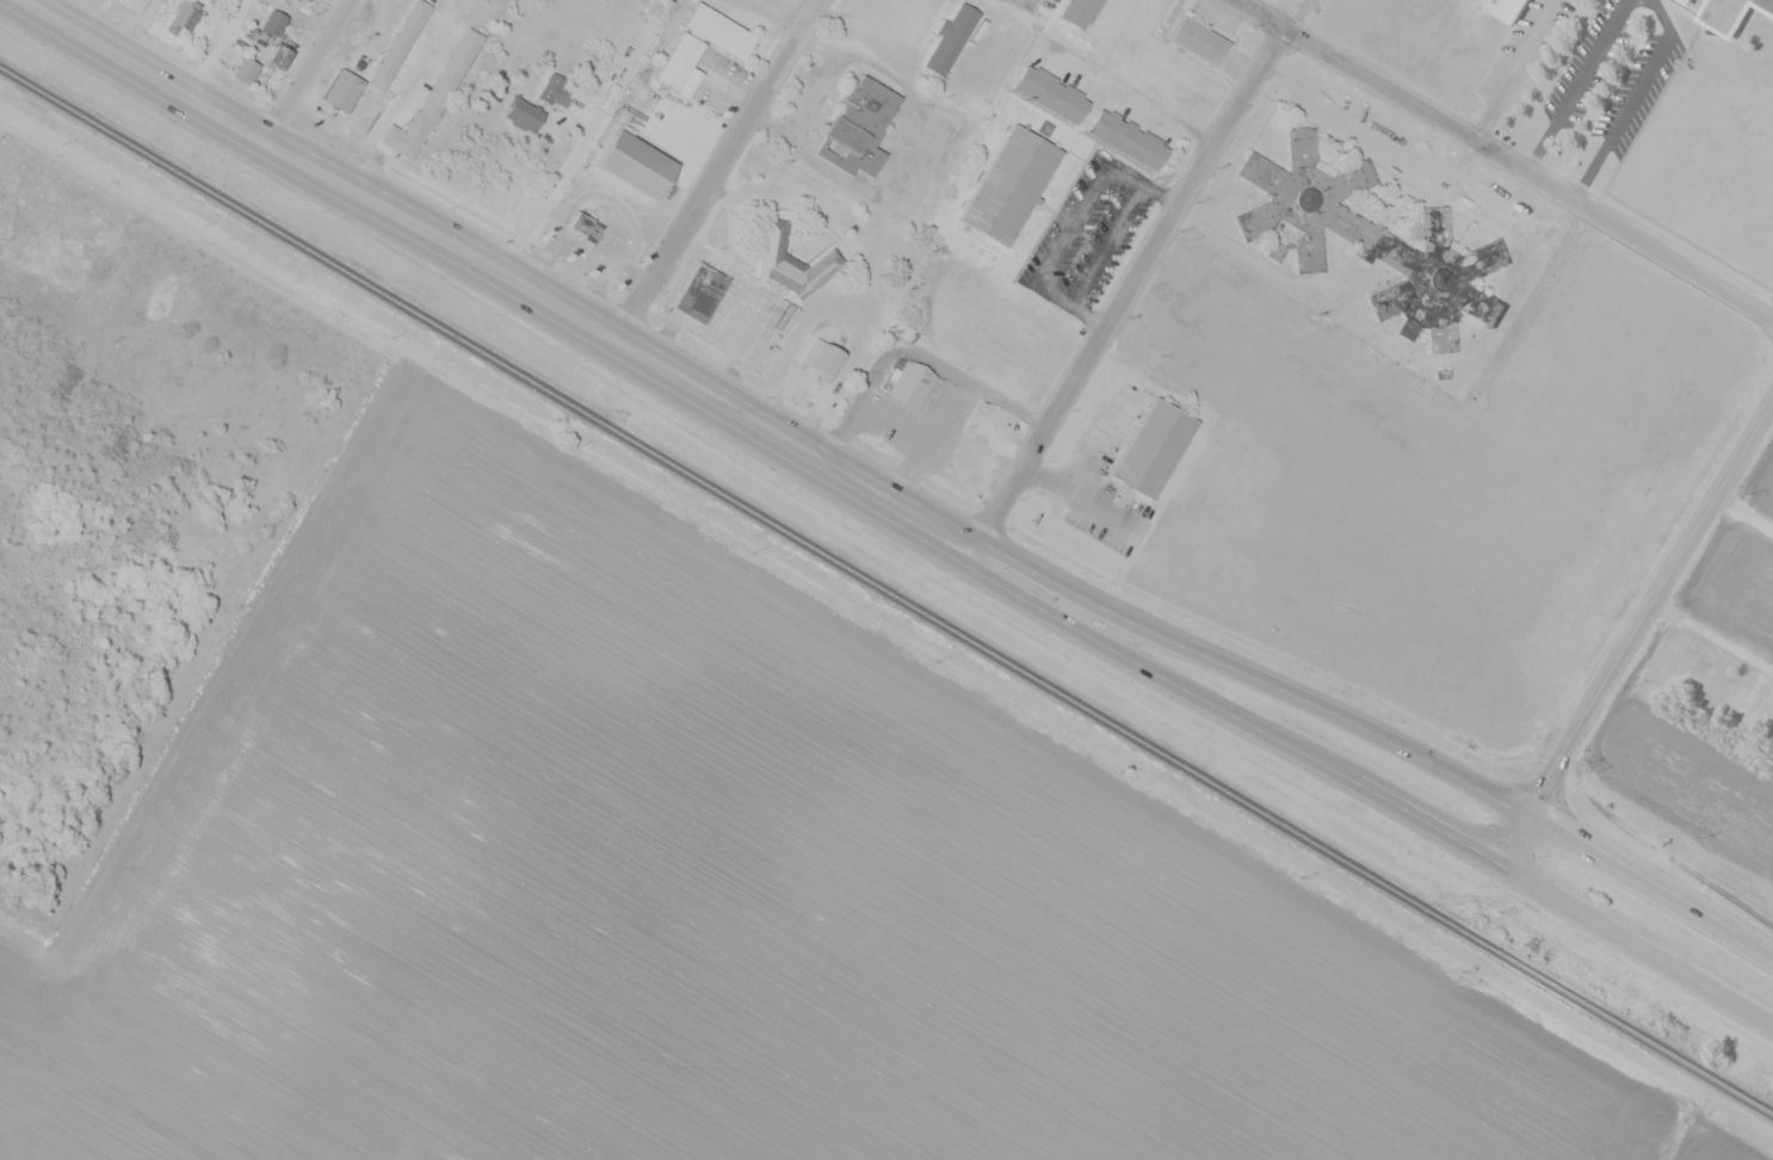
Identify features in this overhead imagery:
building: (298, 0)
building: (134, 5)
building: (1505, 10)
building: (1729, 13)
building: (185, 14)
building: (274, 21)
building: (717, 36)
building: (951, 38)
building: (1200, 41)
building: (400, 44)
building: (464, 51)
building: (280, 56)
building: (247, 69)
road: (302, 70)
building: (673, 74)
building: (556, 90)
building: (341, 94)
building: (524, 113)
building: (859, 127)
building: (407, 135)
building: (619, 135)
road: (1508, 158)
building: (634, 167)
road: (722, 172)
building: (1008, 190)
building: (1327, 206)
building: (585, 224)
building: (793, 261)
road: (495, 272)
road: (1126, 288)
building: (699, 296)
building: (823, 358)
building: (910, 389)
building: (1151, 452)
road: (1743, 519)
railway: (886, 588)
road: (1651, 607)
building: (1694, 672)
road: (1248, 674)
road: (1228, 710)
road: (1514, 839)
road: (1651, 883)
road: (1636, 948)

